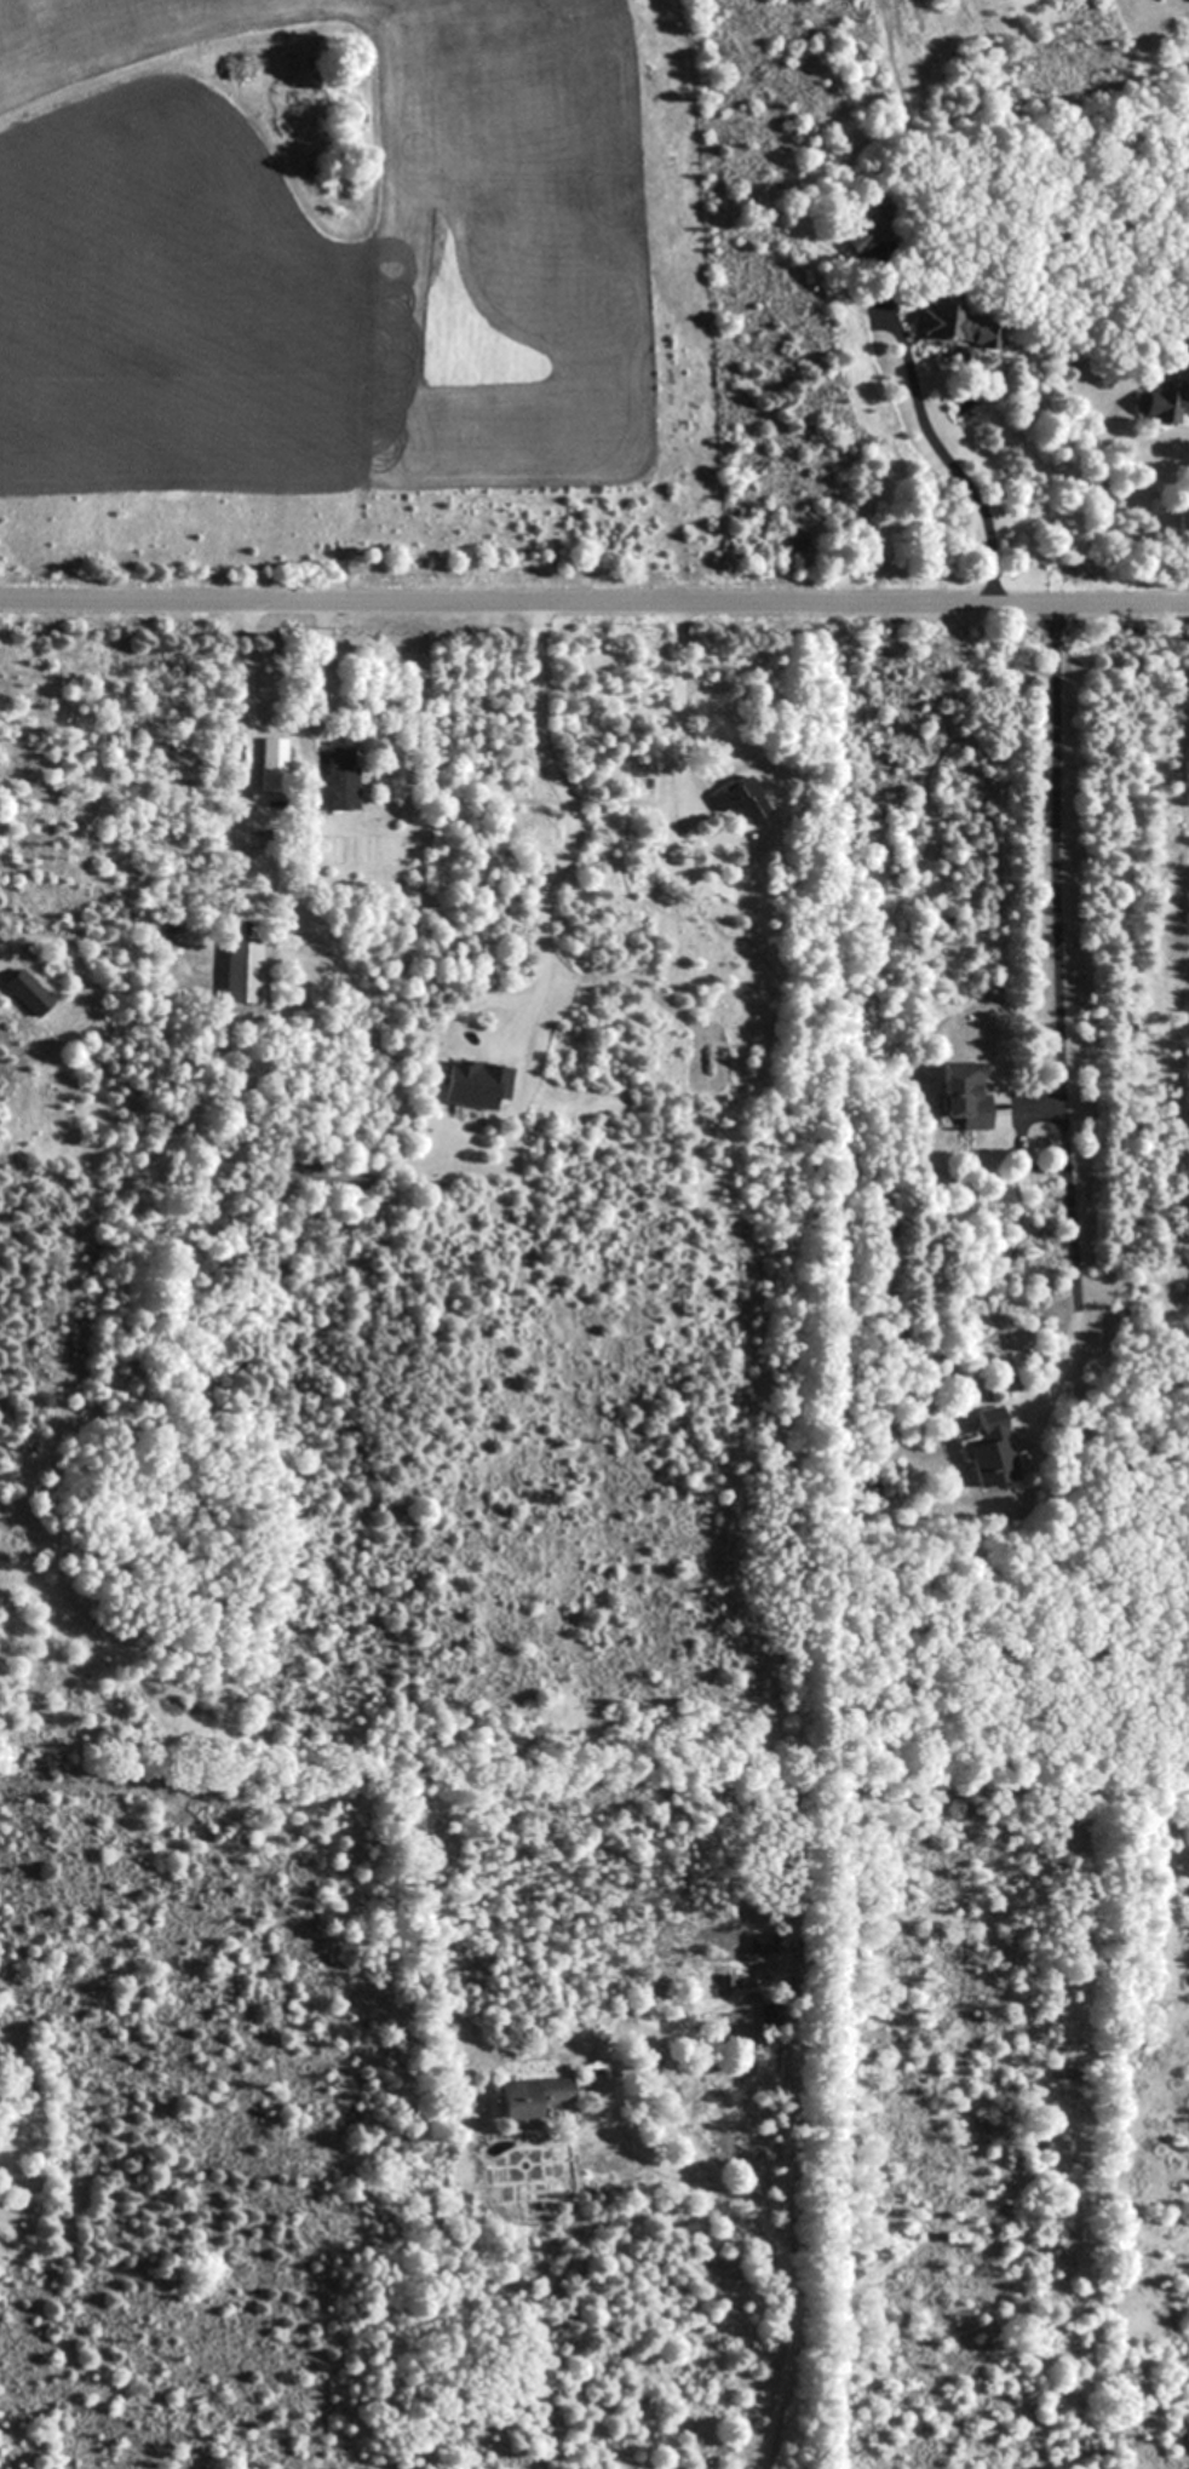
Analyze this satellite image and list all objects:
building: (866, 239)
building: (942, 322)
building: (1162, 404)
road: (944, 458)
road: (594, 596)
road: (324, 700)
road: (680, 702)
road: (248, 747)
building: (272, 764)
building: (340, 777)
building: (742, 799)
building: (242, 981)
road: (1057, 1089)
building: (965, 1093)
building: (990, 1448)
building: (530, 2096)
road: (774, 2245)

